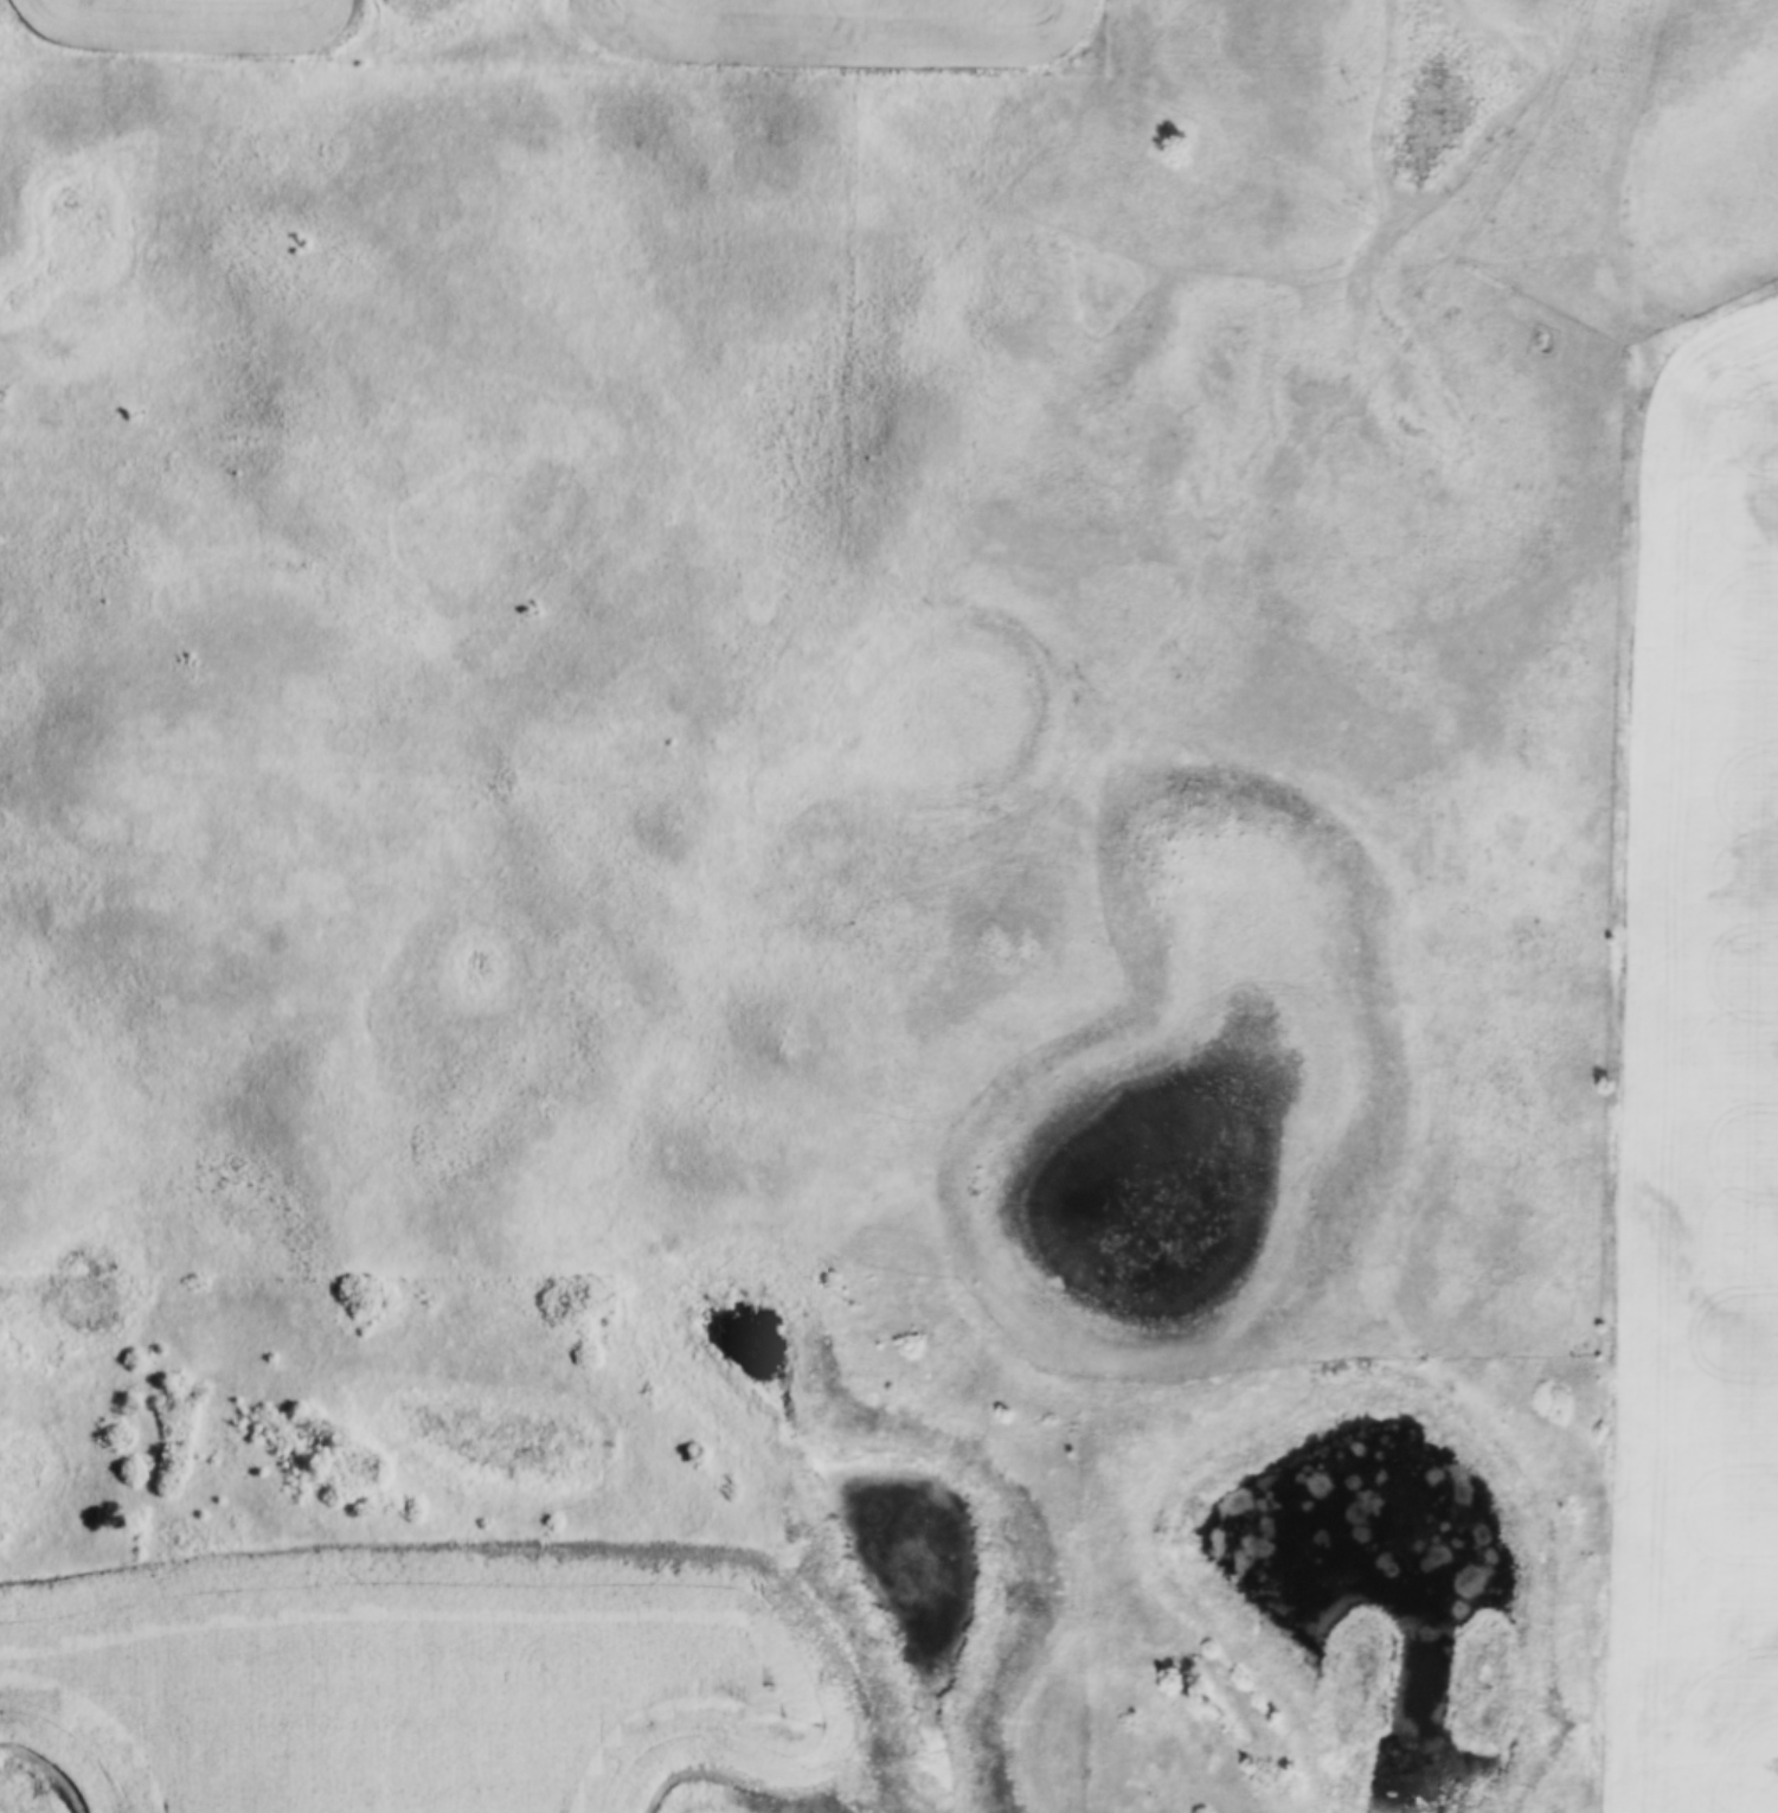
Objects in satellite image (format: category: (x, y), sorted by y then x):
road: (1714, 321)
road: (1629, 899)

